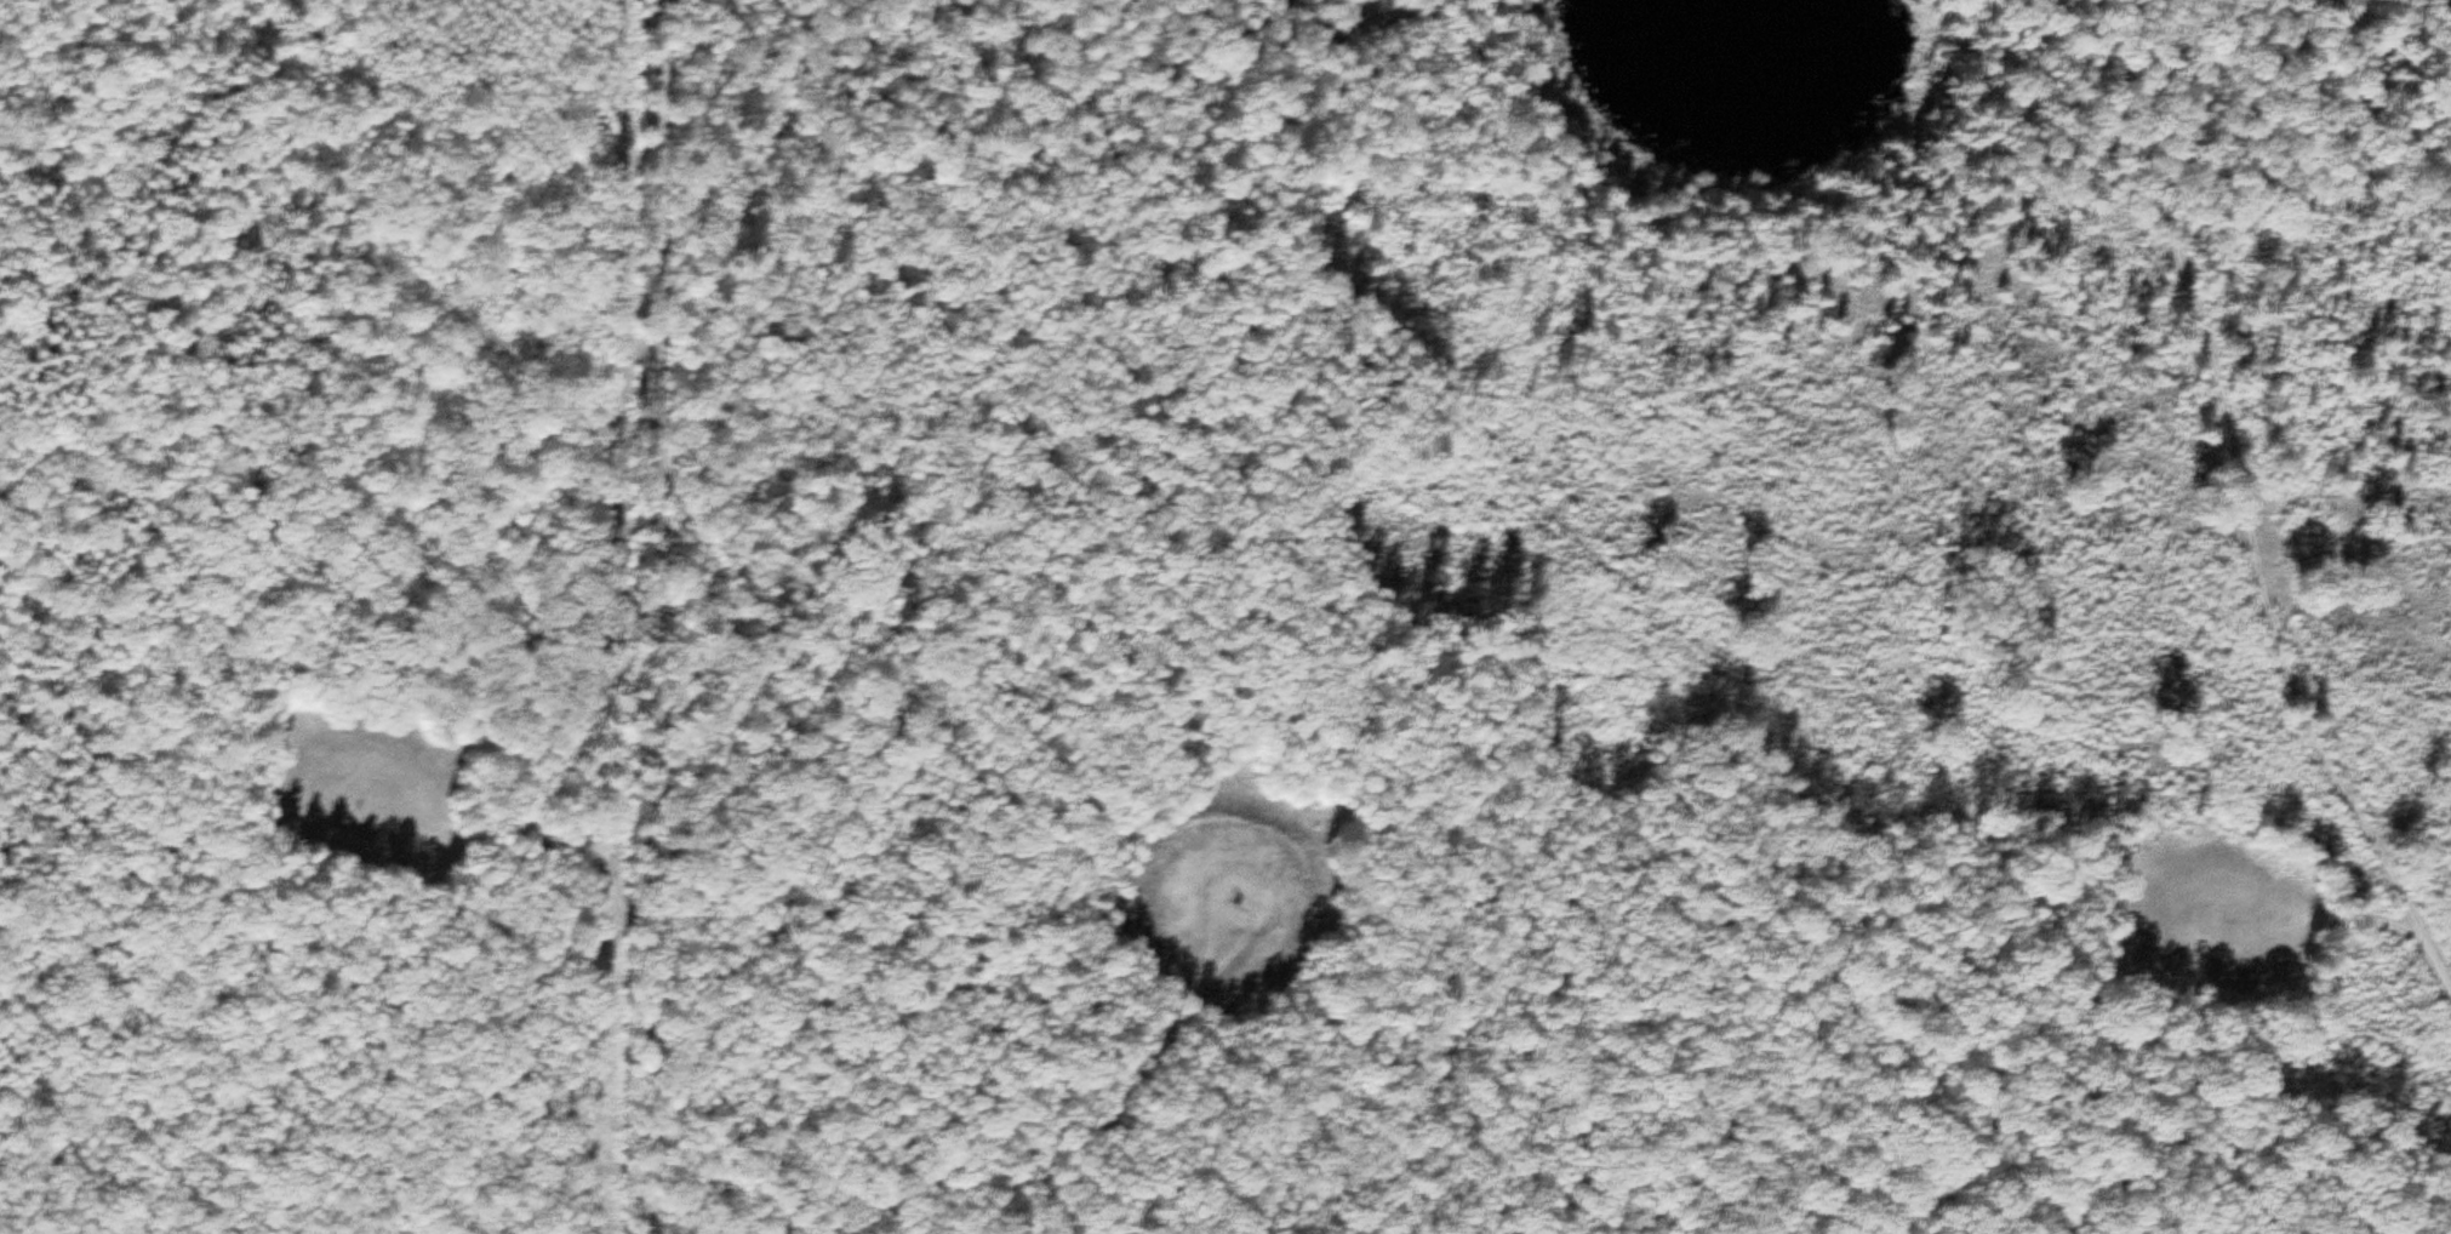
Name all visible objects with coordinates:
road: (2133, 82)
road: (2264, 595)
road: (656, 616)
petroleum well: (355, 800)
road: (521, 839)
petroleum well: (1236, 896)
petroleum well: (2224, 912)
road: (2355, 914)
road: (1149, 1072)
road: (988, 1202)
road: (1017, 1202)

